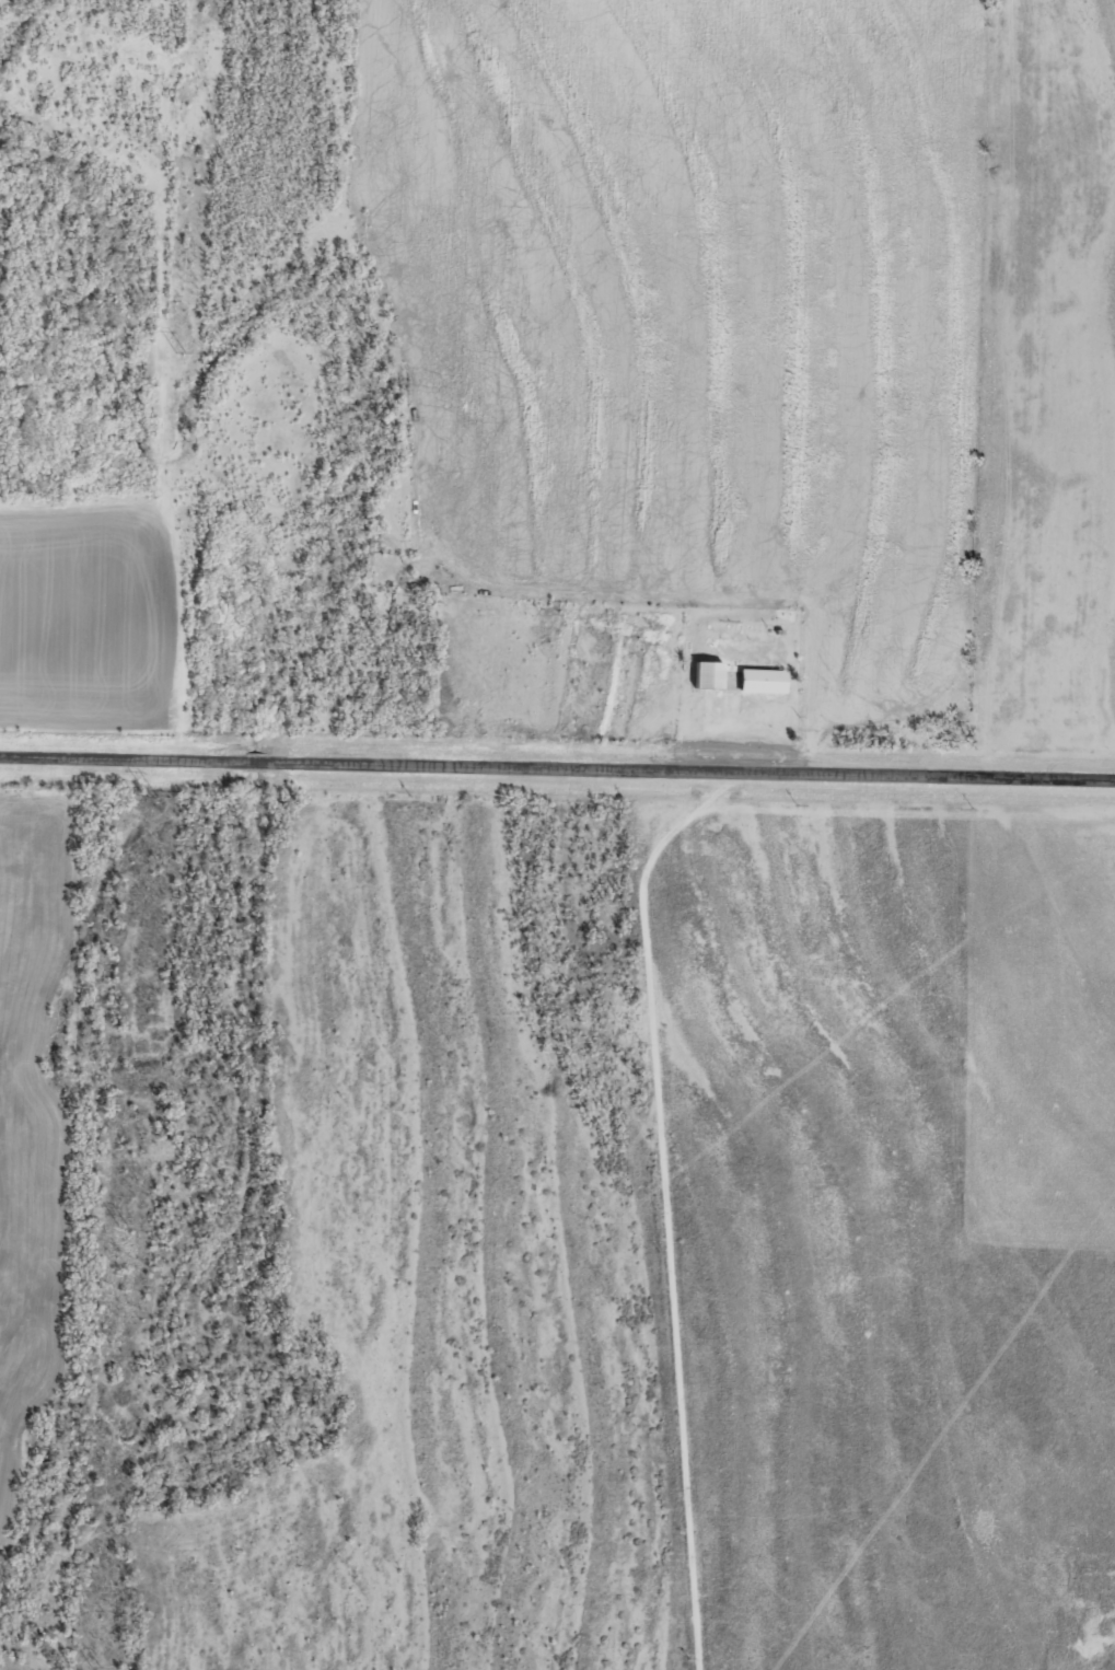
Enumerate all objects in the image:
power tower: (183, 348)
building: (709, 674)
building: (759, 680)
road: (557, 765)
power tower: (150, 797)
power tower: (121, 1219)
power tower: (95, 1663)

